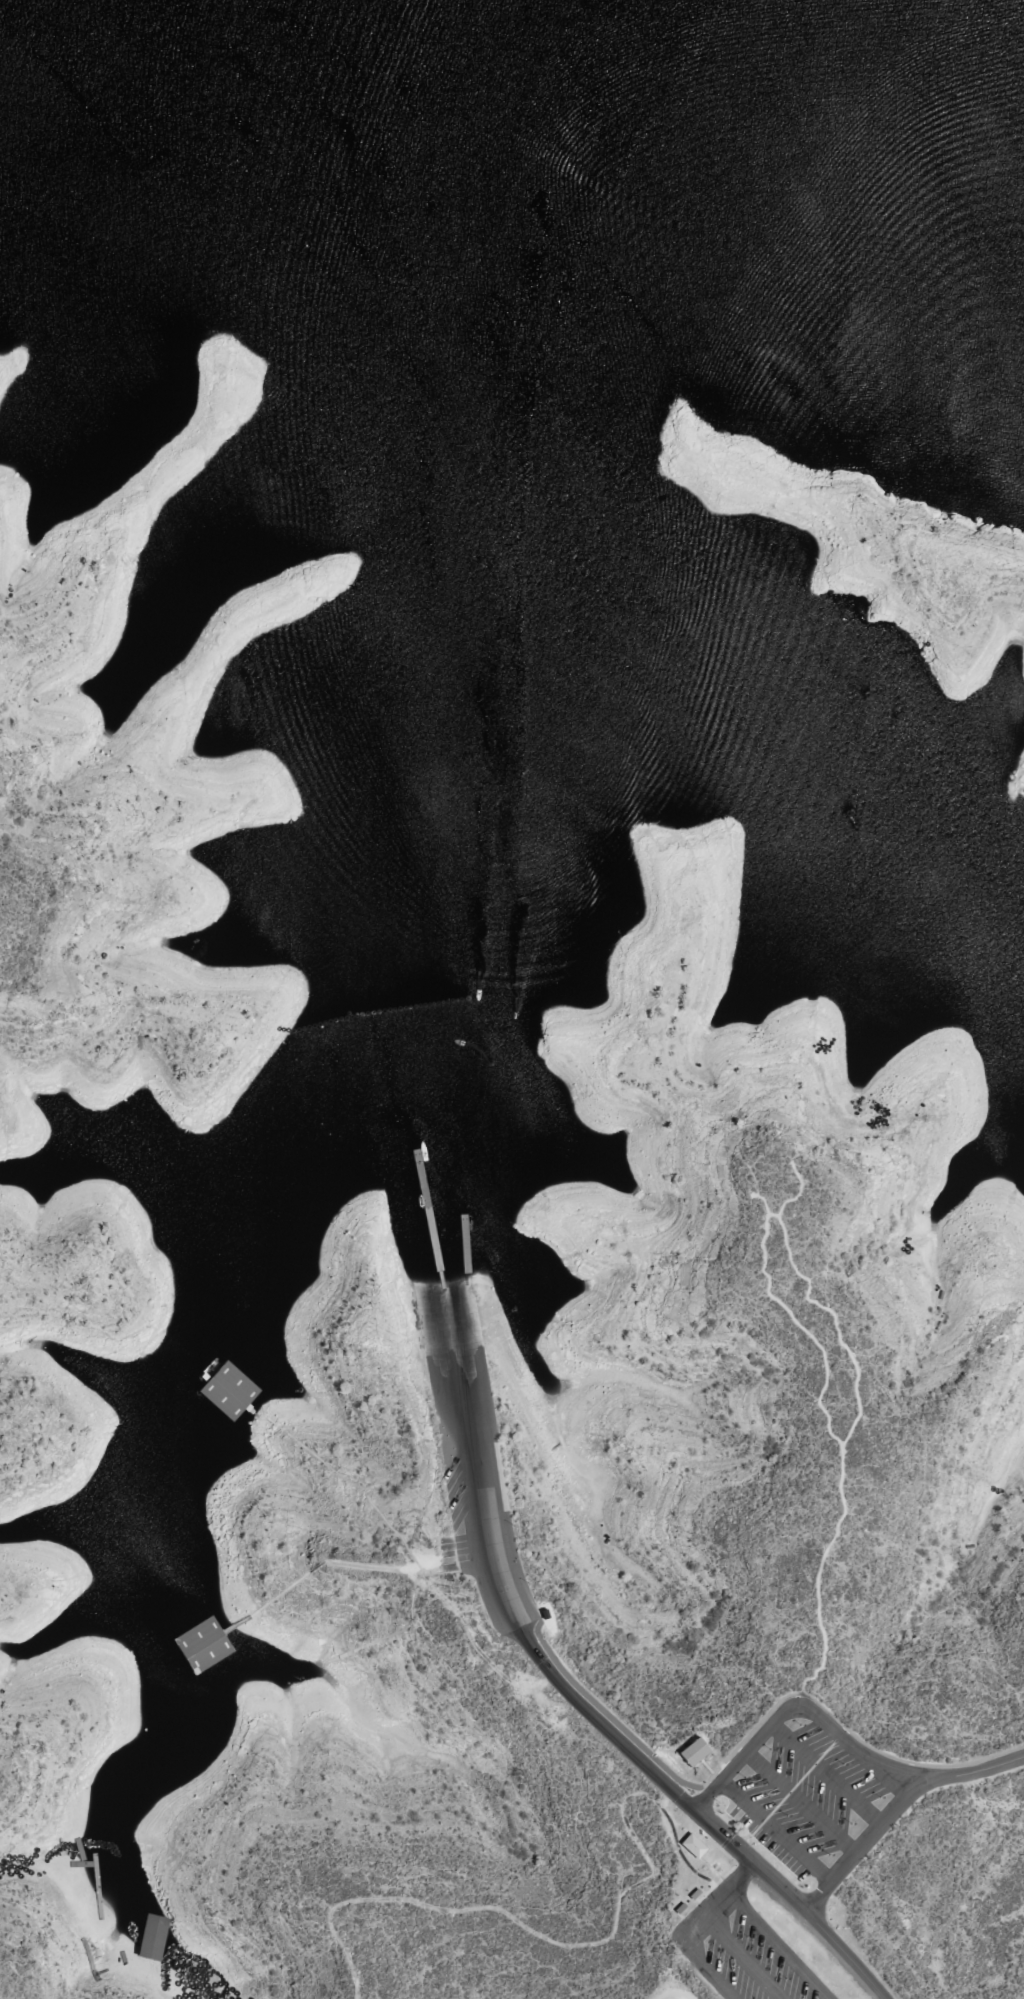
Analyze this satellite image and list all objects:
river: (565, 142)
building: (261, 1609)
building: (344, 1654)
building: (694, 1752)
road: (651, 1769)
road: (900, 1809)
building: (692, 1847)
road: (684, 1927)
road: (778, 1943)
road: (739, 1955)

